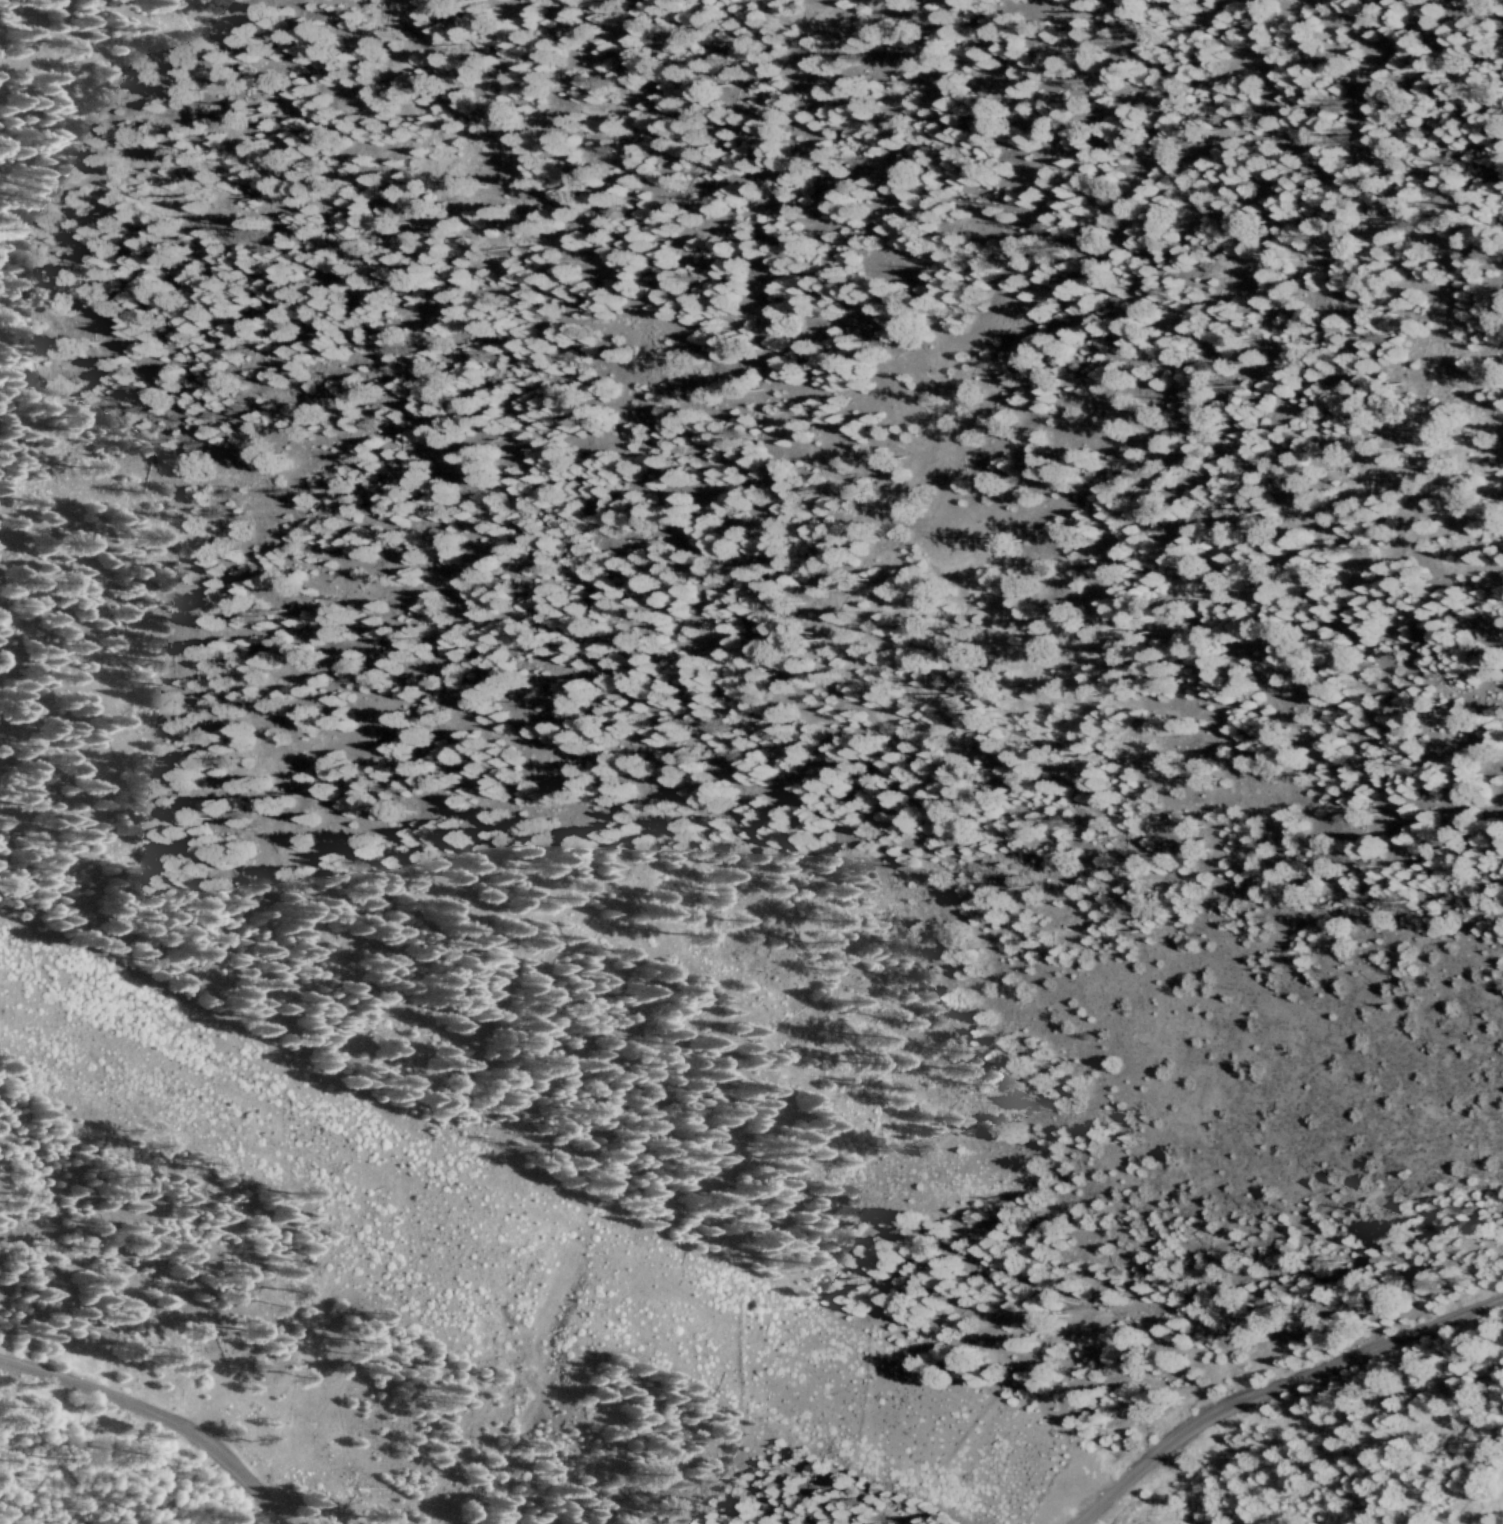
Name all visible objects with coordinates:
road: (1269, 1382)
road: (152, 1416)

